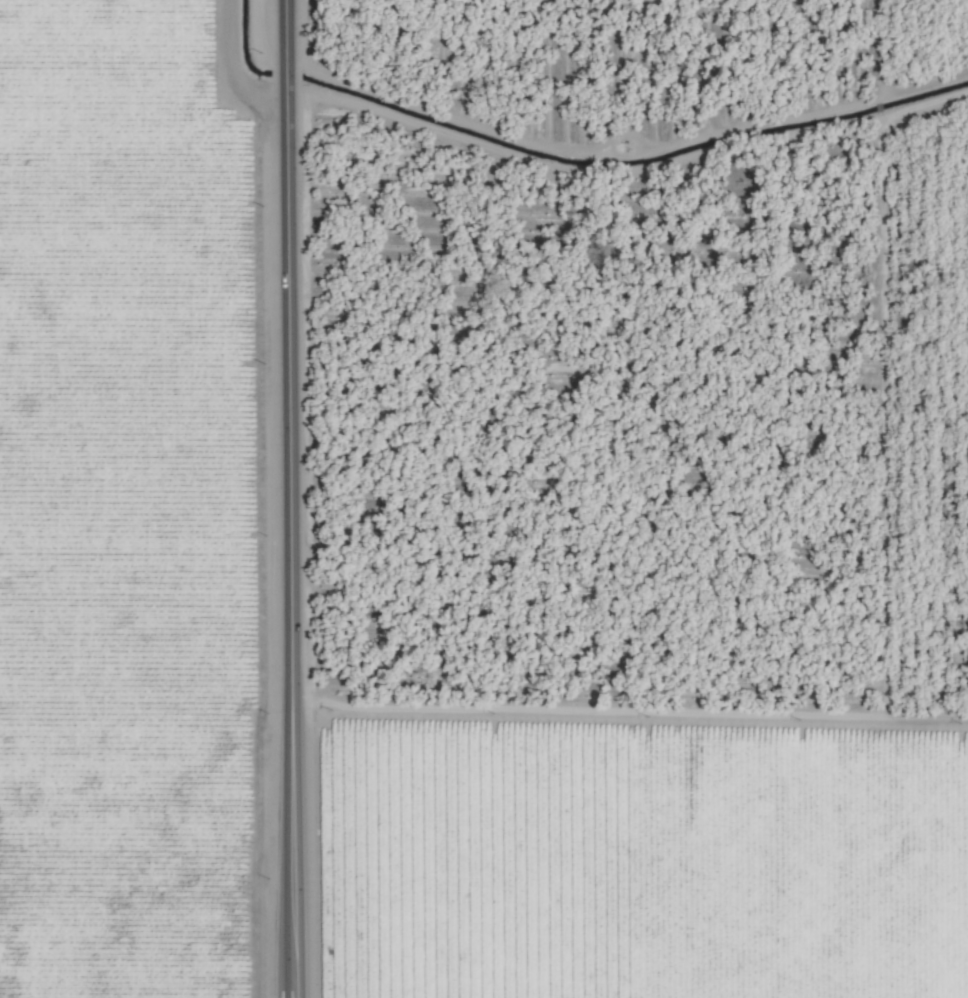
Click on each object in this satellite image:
road: (290, 498)
crop: (484, 499)
road: (629, 714)

